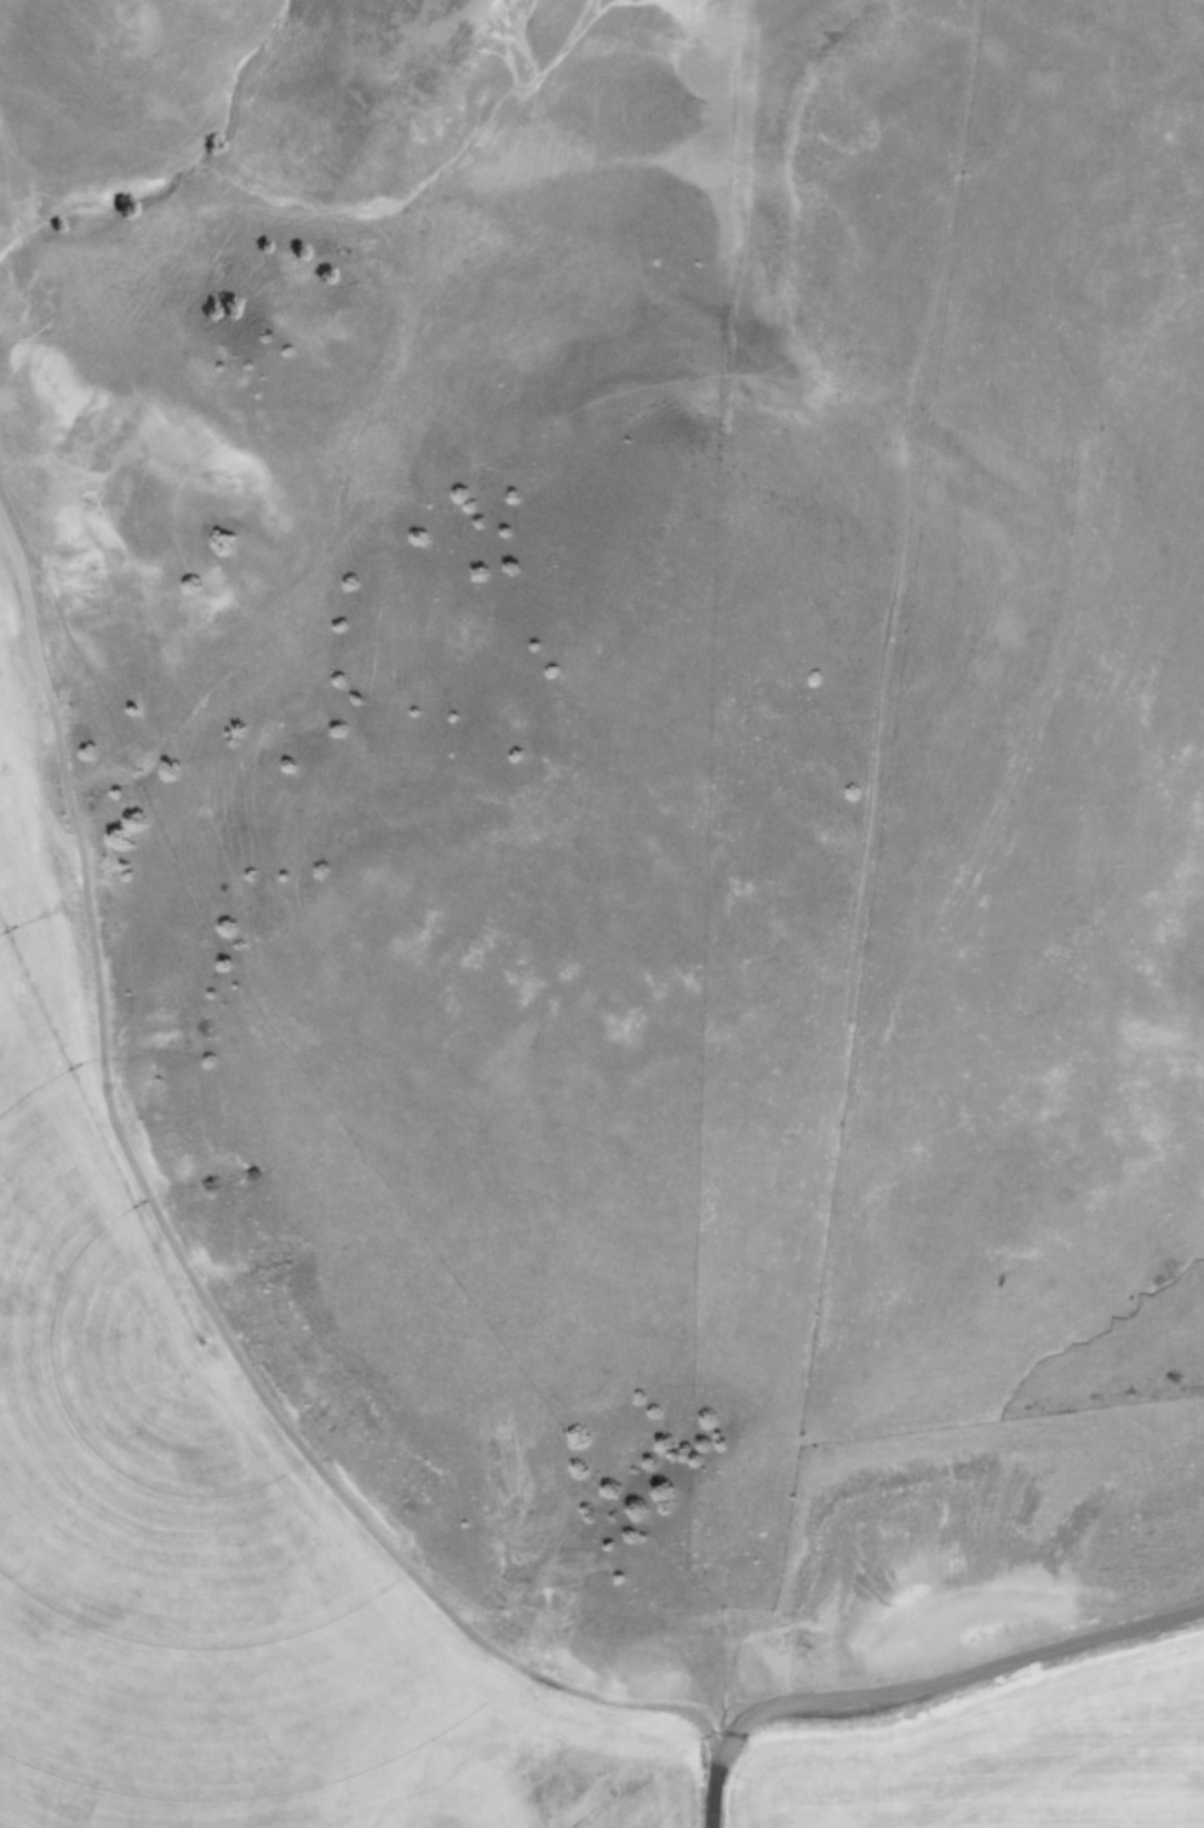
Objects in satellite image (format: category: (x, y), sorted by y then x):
road: (917, 1680)

